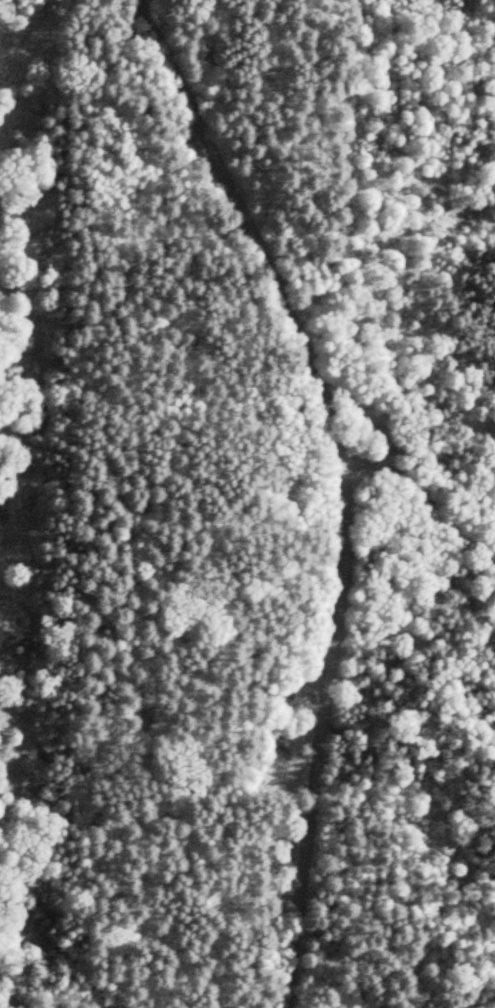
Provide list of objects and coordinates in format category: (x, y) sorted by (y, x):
road: (343, 486)
park: (268, 507)

